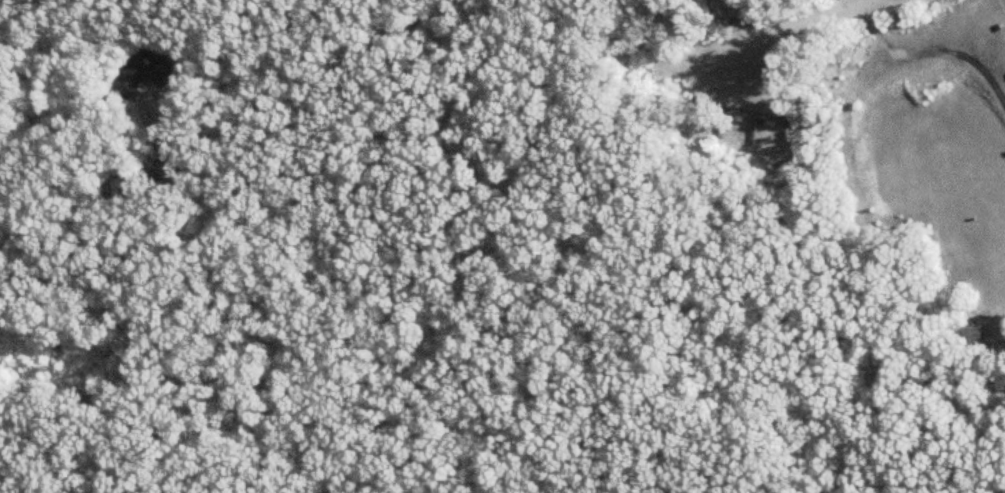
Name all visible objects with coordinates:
road: (932, 47)
building: (147, 73)
building: (129, 184)
road: (127, 250)

